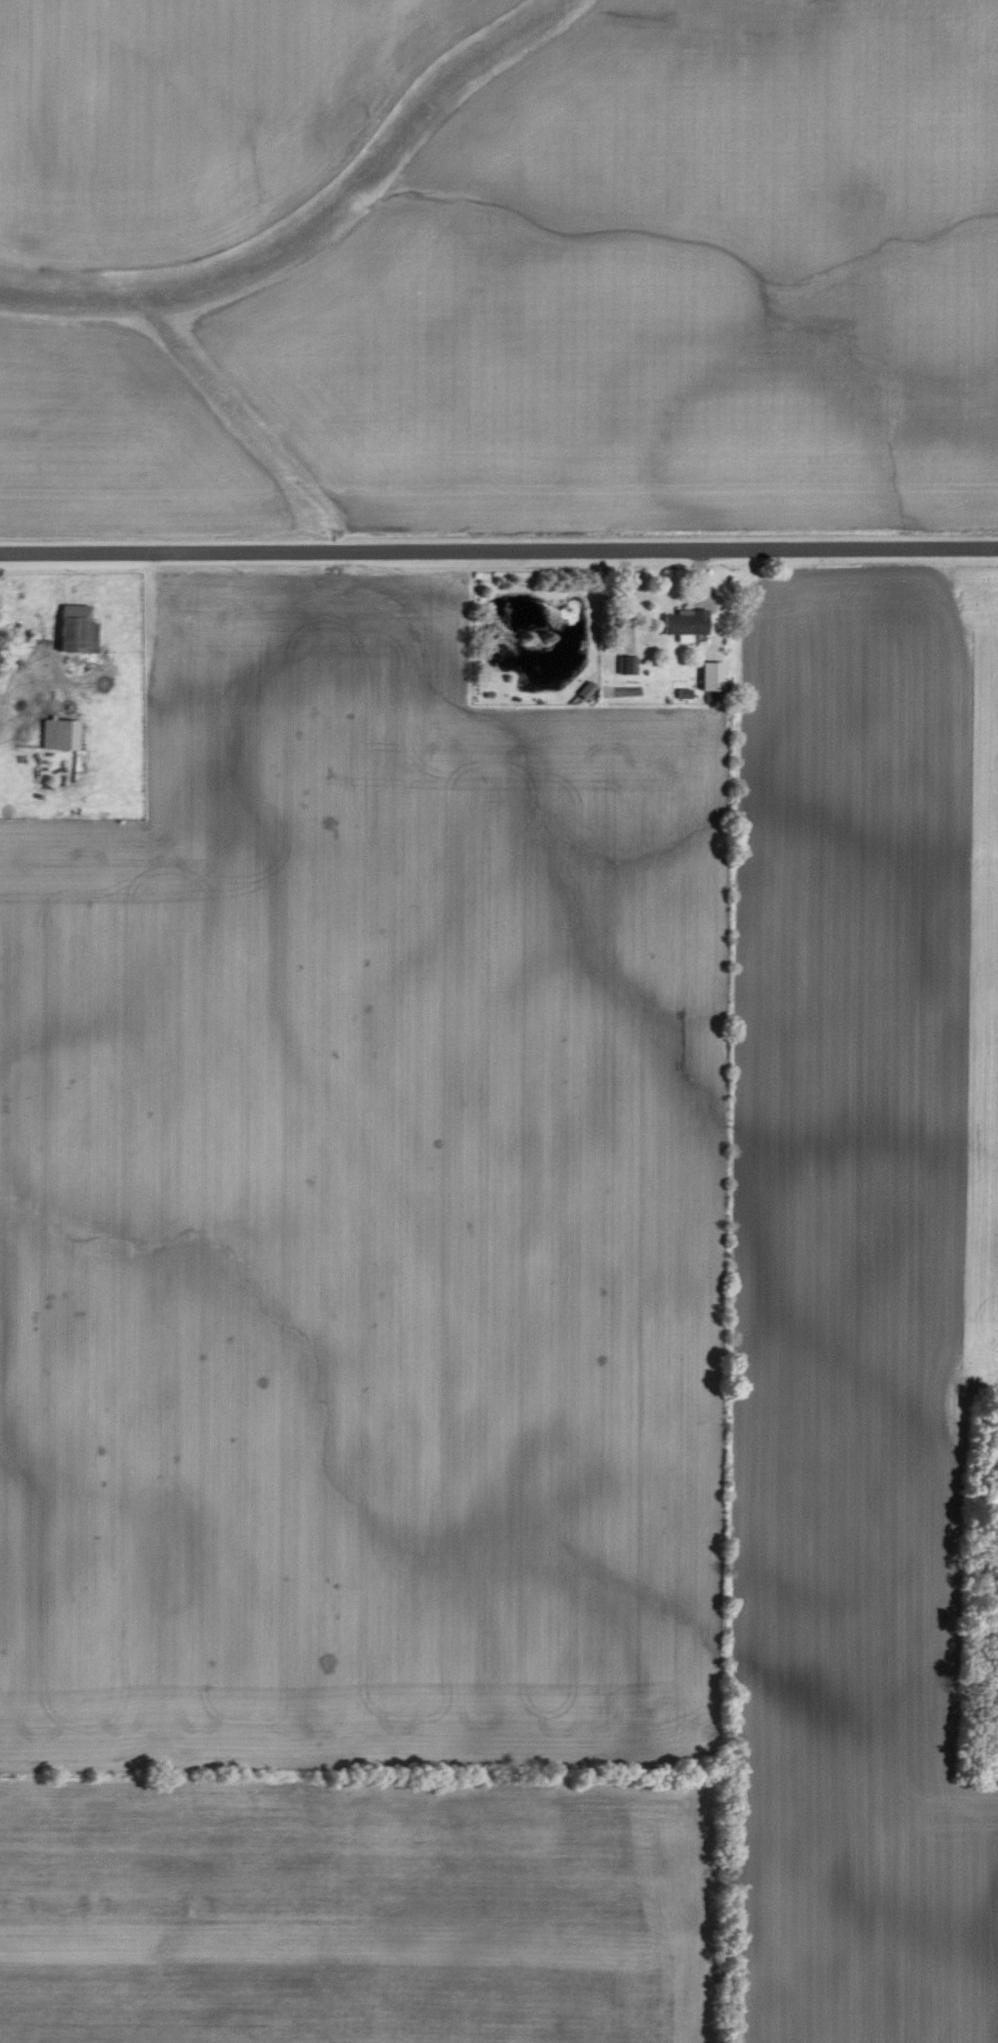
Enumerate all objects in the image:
road: (498, 549)
building: (686, 624)
building: (78, 630)
building: (628, 665)
building: (712, 676)
building: (587, 690)
building: (685, 693)
building: (60, 734)

